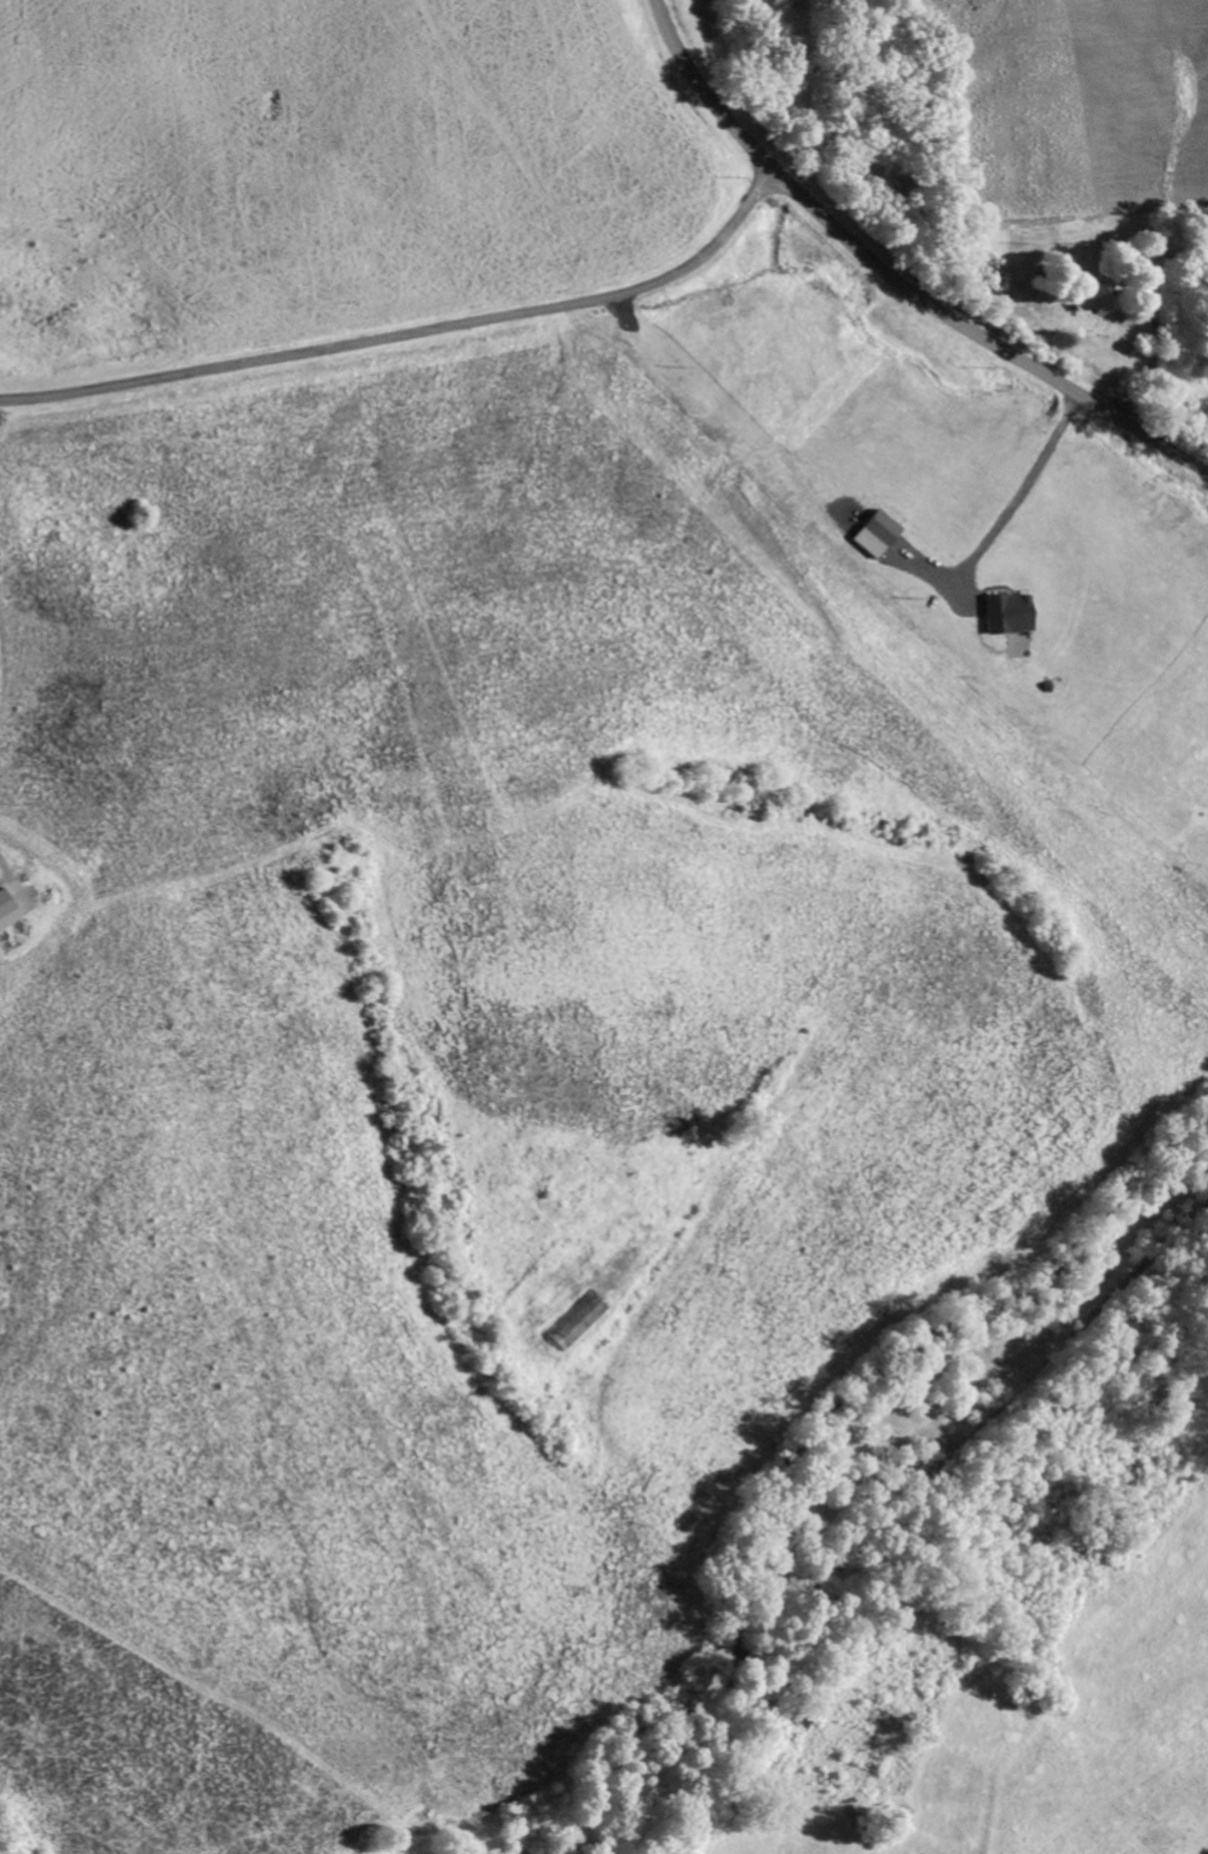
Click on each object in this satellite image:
road: (895, 276)
building: (1088, 300)
road: (411, 333)
building: (868, 535)
building: (1000, 614)
building: (6, 912)
building: (577, 1321)

